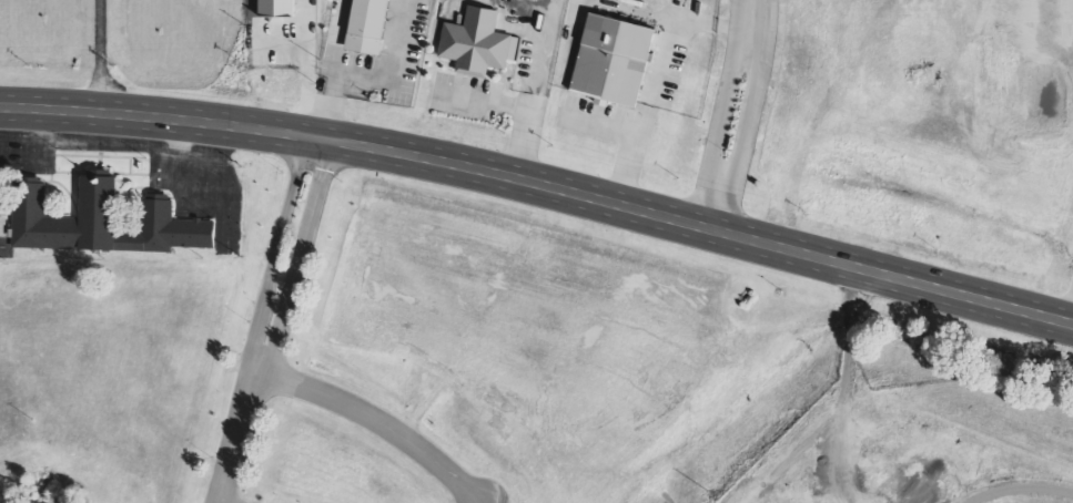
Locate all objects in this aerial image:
building: (279, 9)
building: (371, 27)
building: (479, 43)
building: (615, 61)
road: (367, 76)
road: (733, 114)
road: (541, 185)
building: (107, 219)
road: (282, 229)
road: (307, 236)
road: (1071, 315)
airport: (488, 373)
road: (245, 415)
road: (379, 421)
road: (225, 502)

